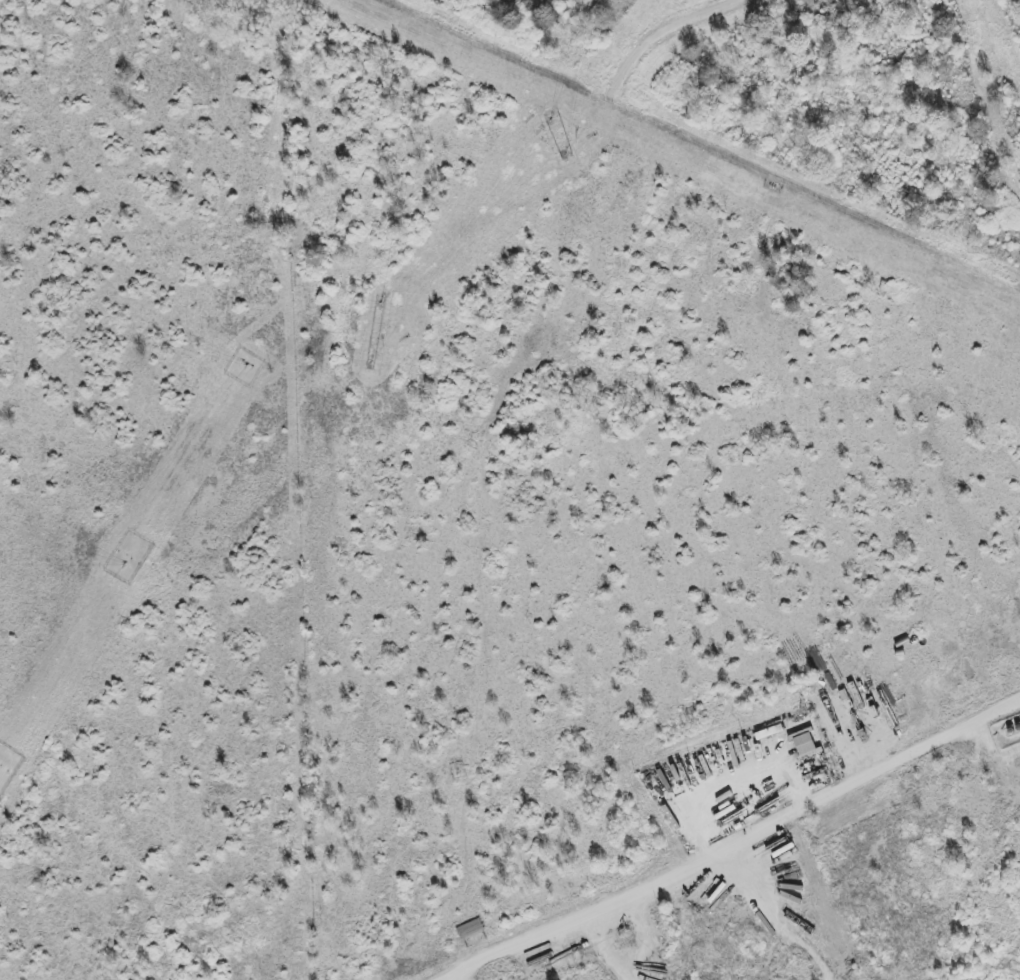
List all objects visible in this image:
building: (805, 745)
road: (734, 839)

